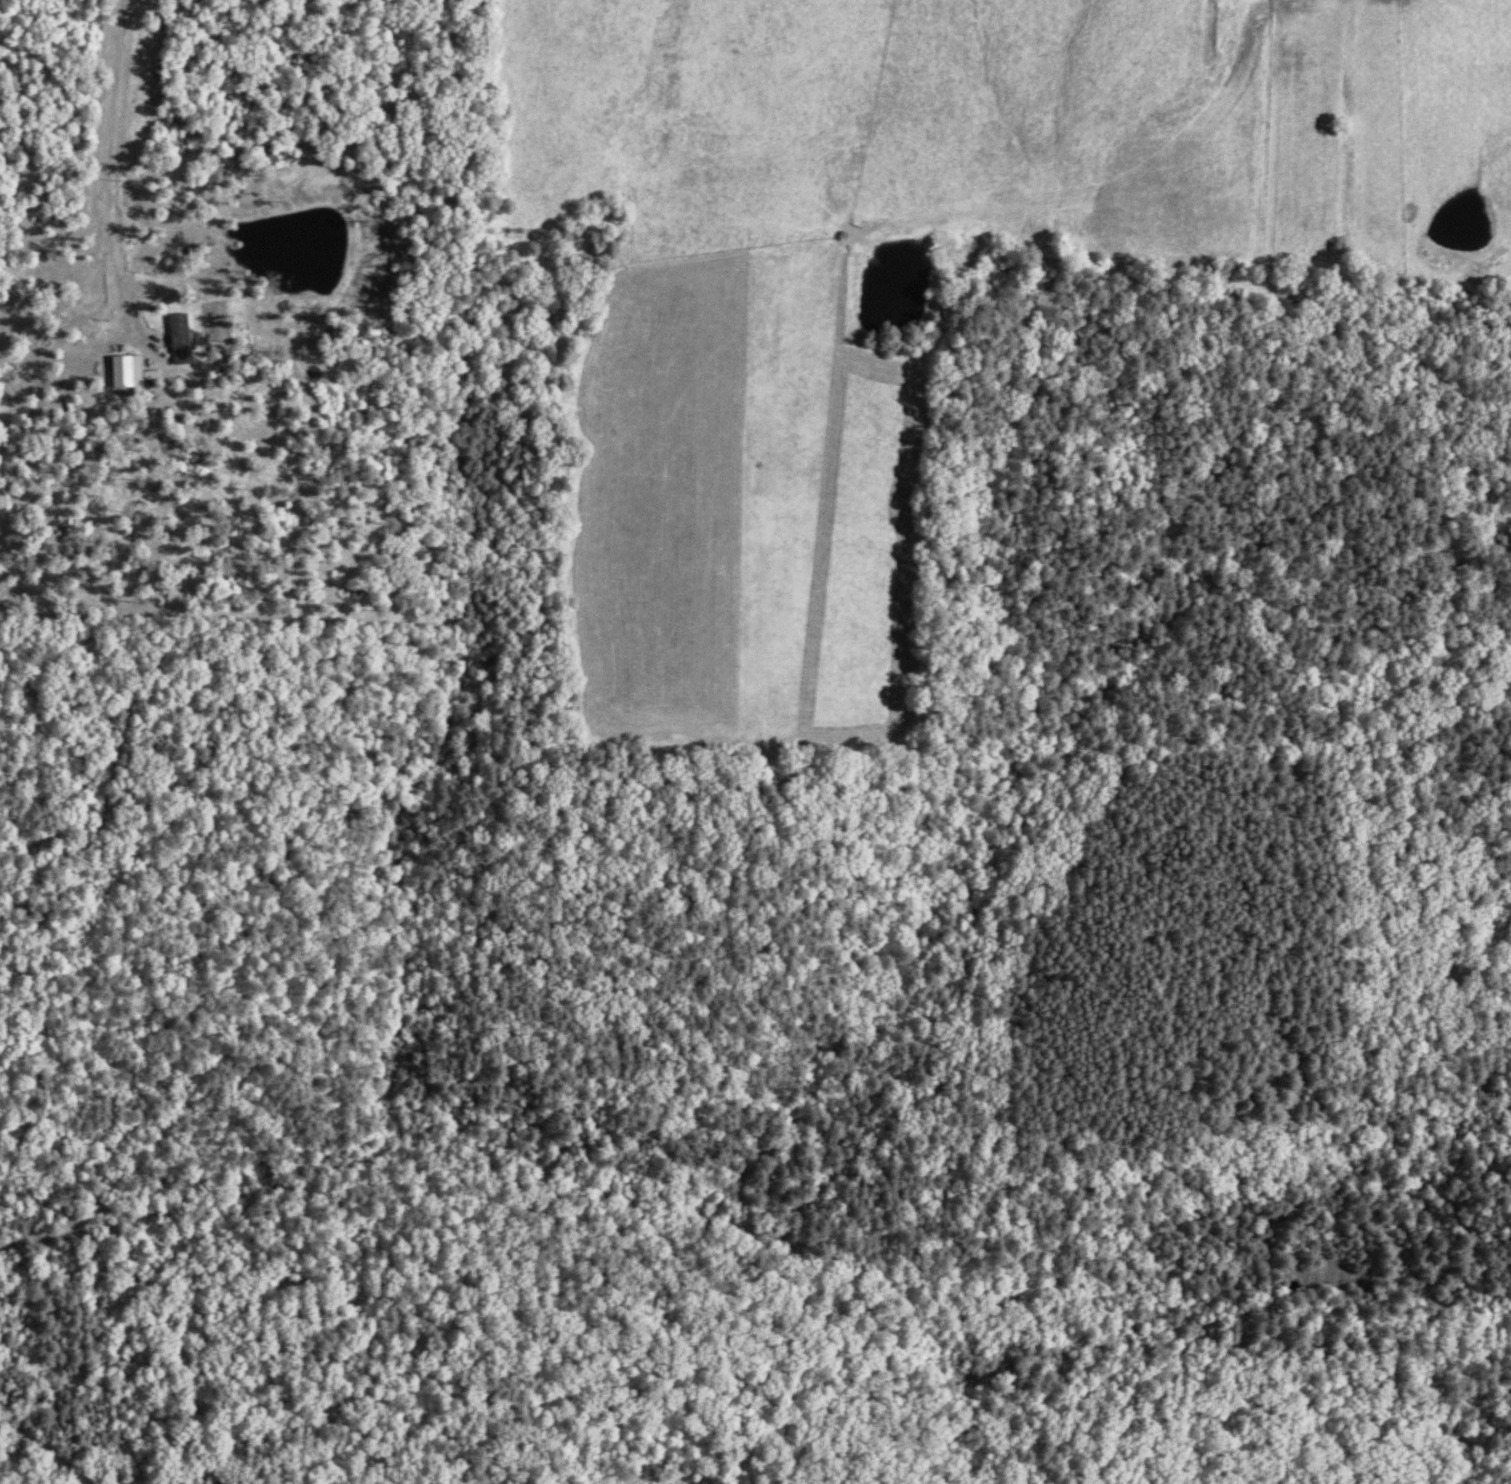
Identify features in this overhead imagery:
building: (181, 321)
building: (134, 374)

